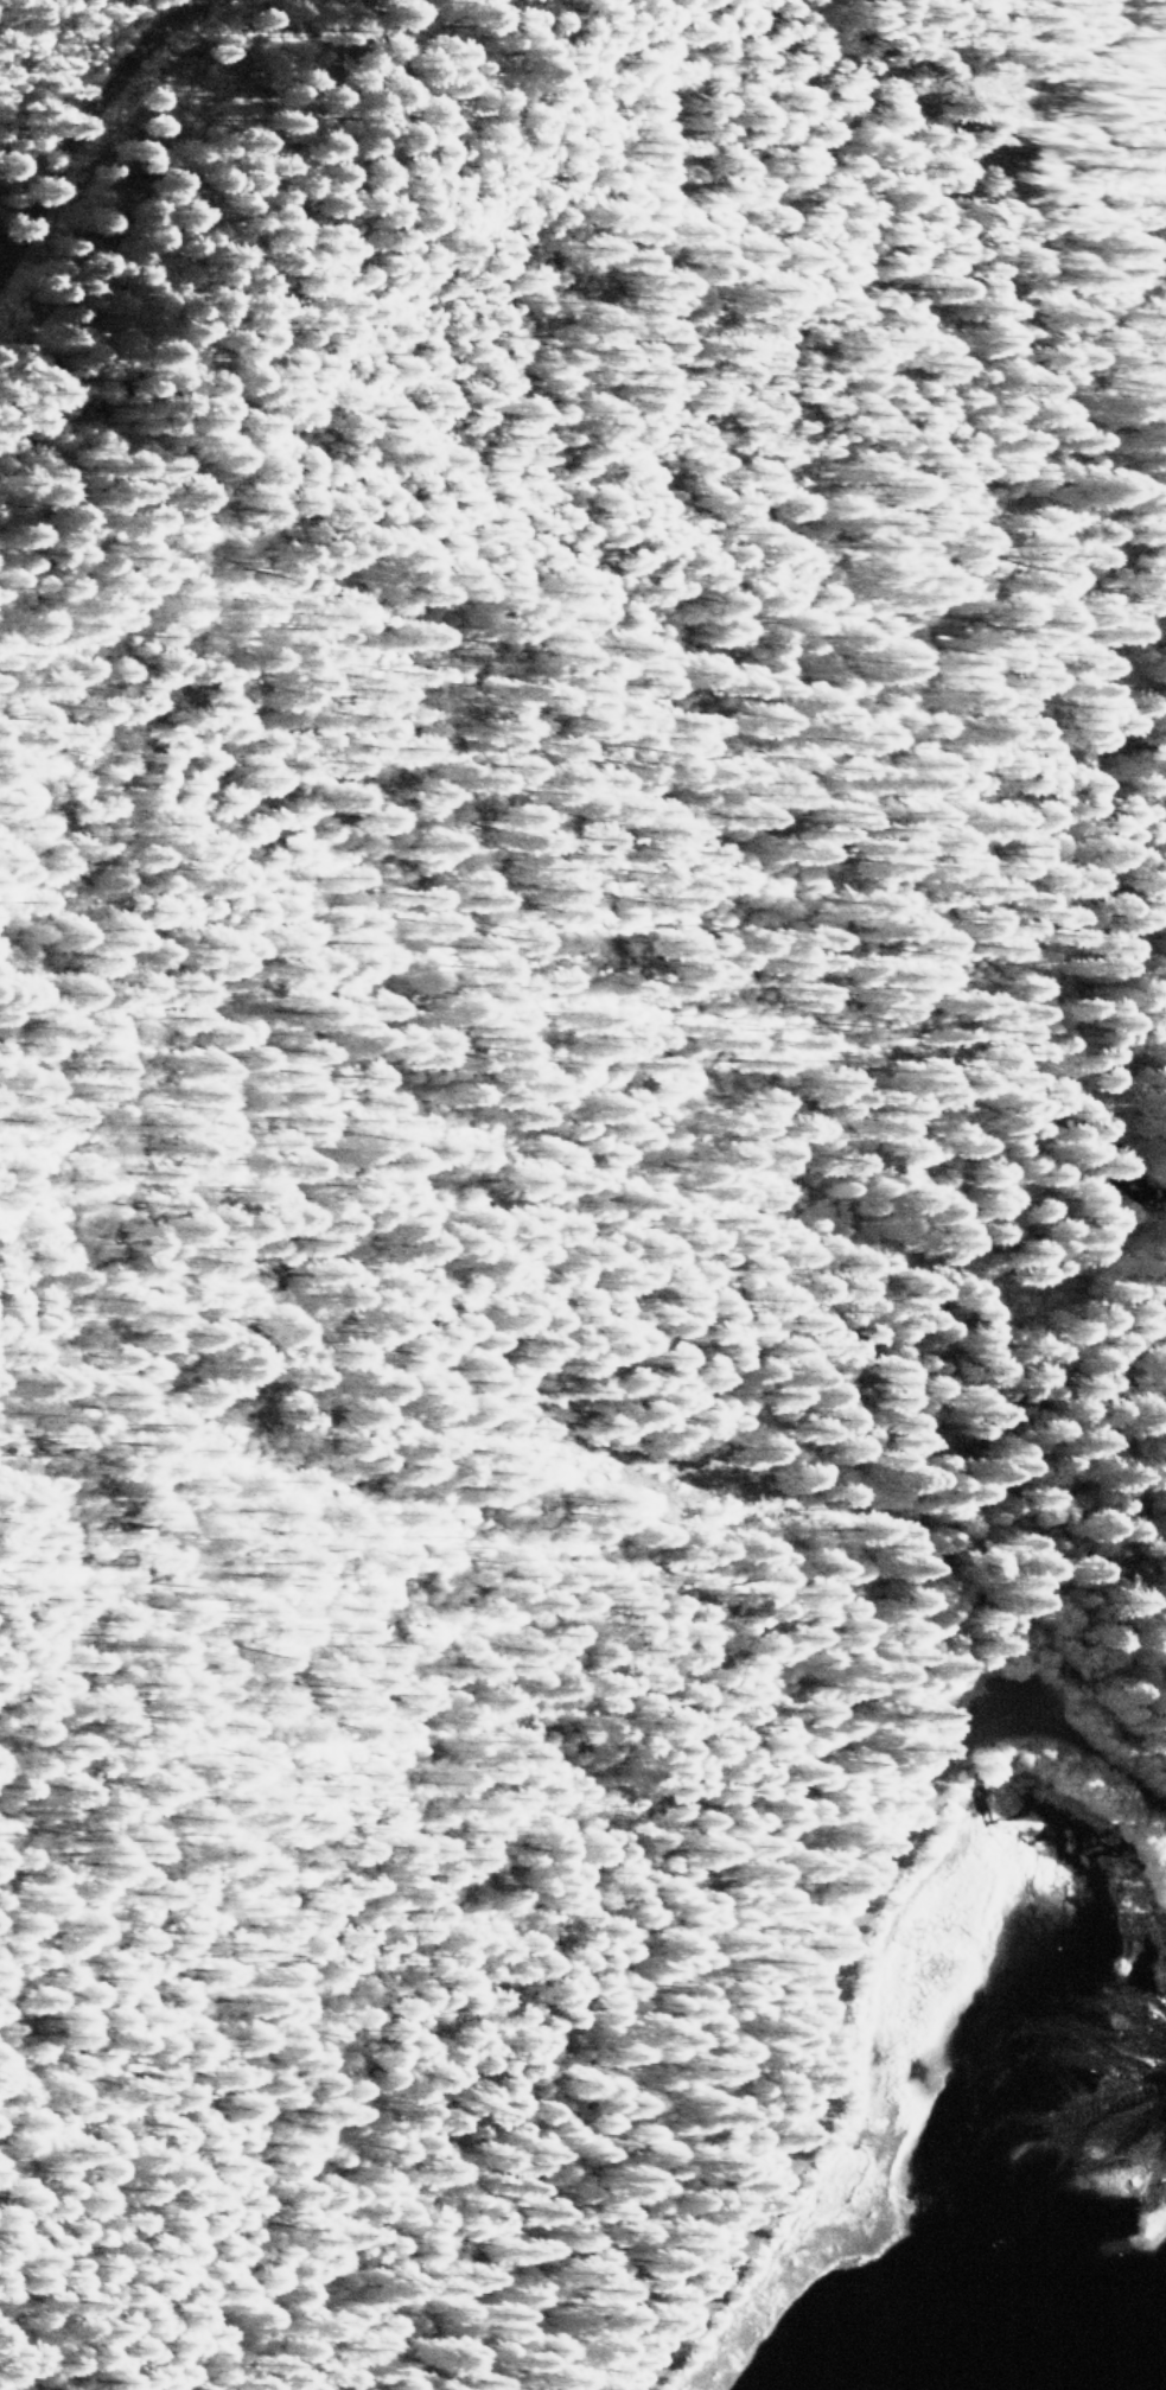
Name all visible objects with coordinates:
road: (75, 109)
road: (1111, 1448)
road: (1039, 1578)
parking lot: (1012, 1709)
road: (780, 1887)
road: (836, 1954)
river: (998, 2241)

